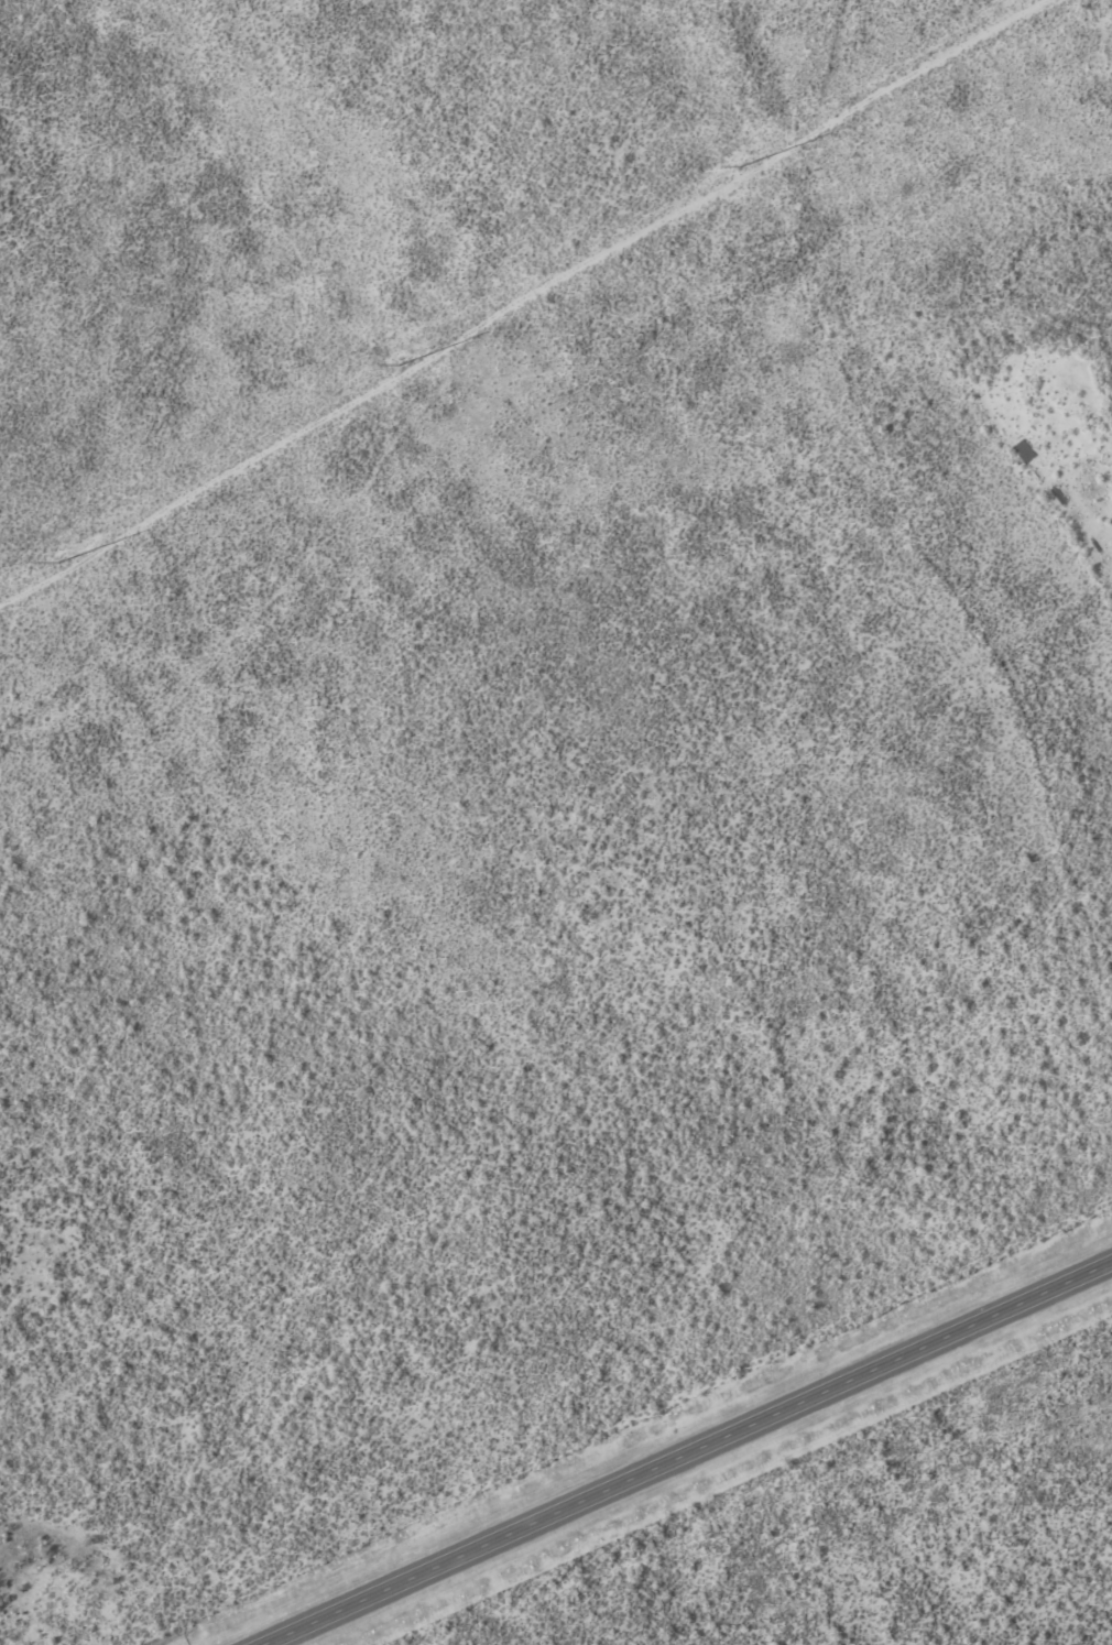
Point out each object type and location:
power tower: (740, 166)
power tower: (400, 363)
power tower: (54, 564)
road: (684, 1453)

